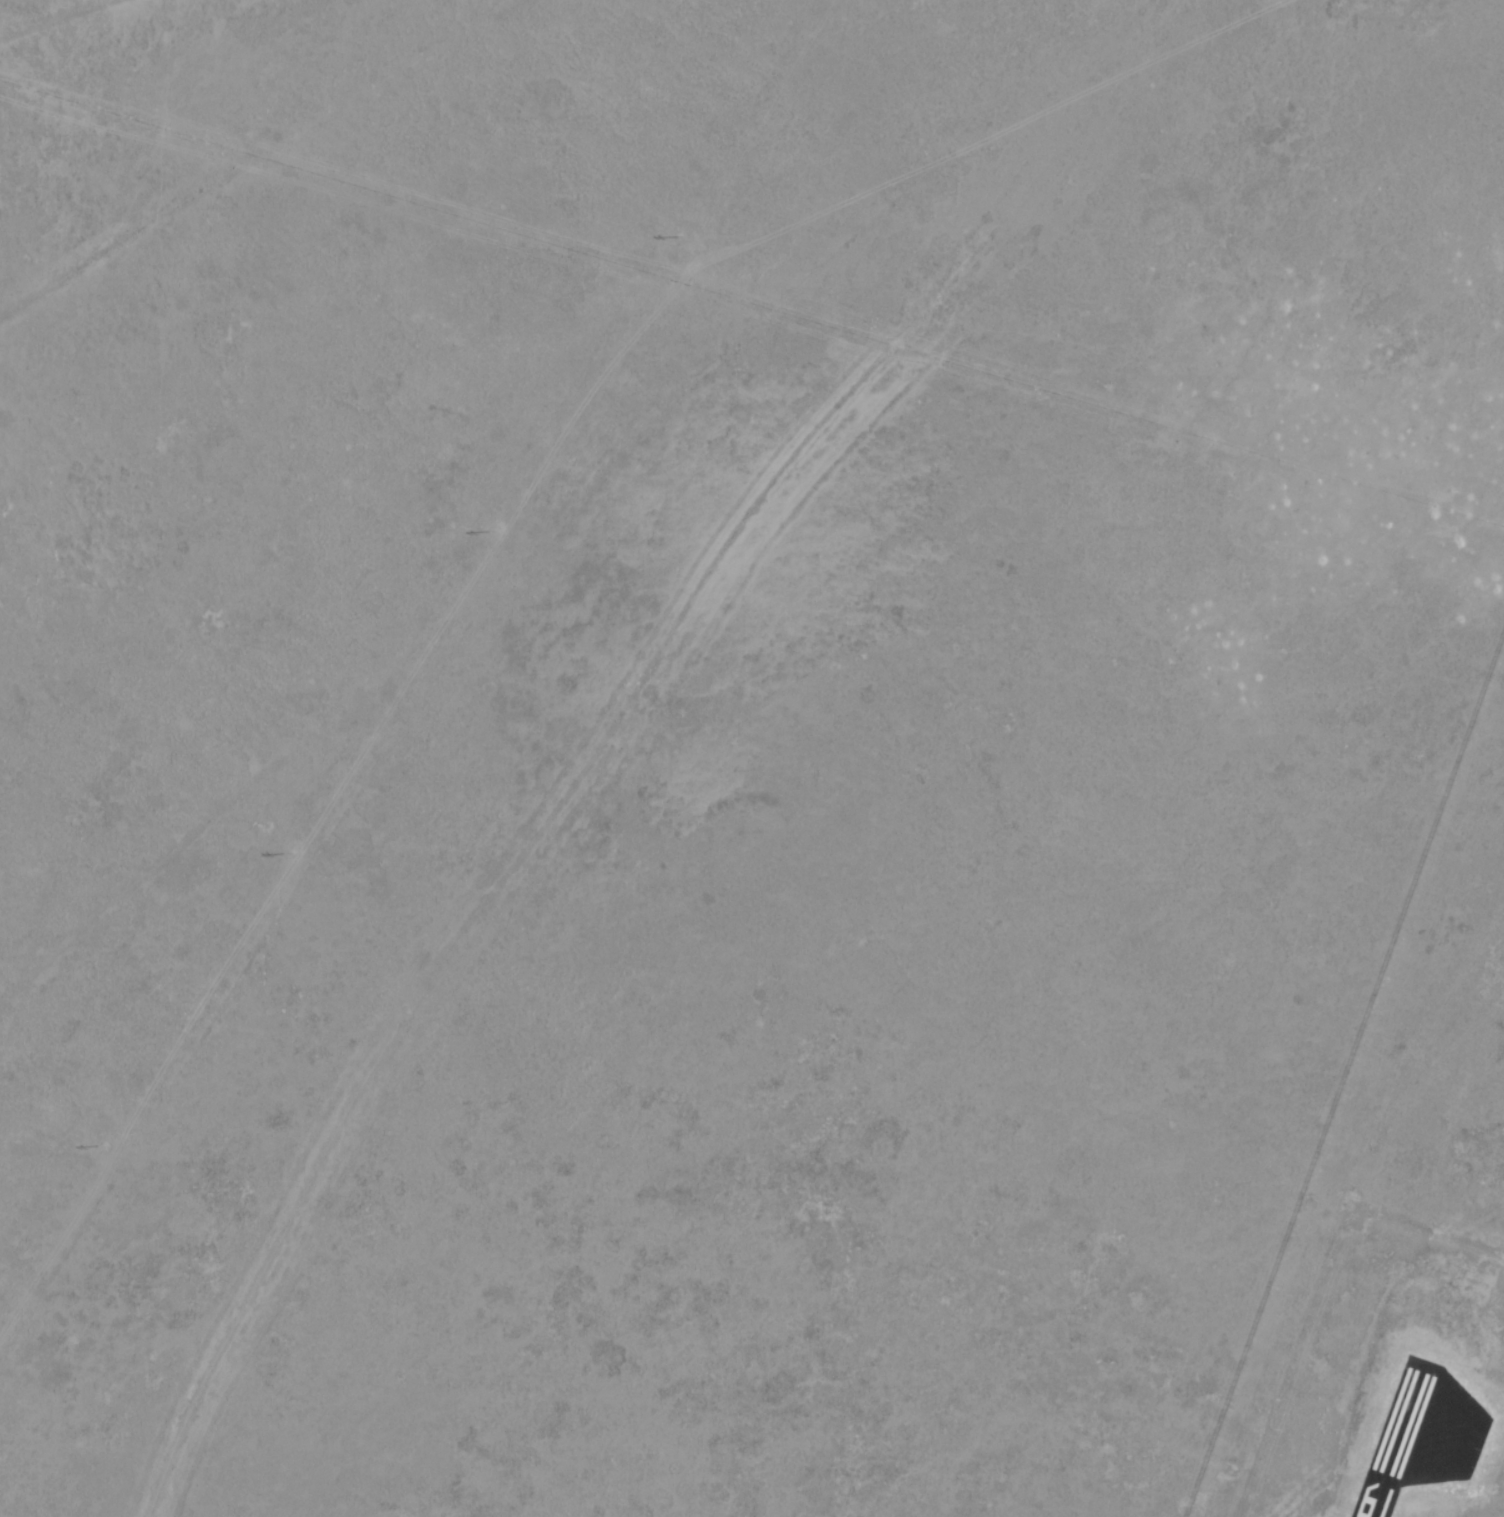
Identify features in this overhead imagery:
airport runway: (1398, 1441)

